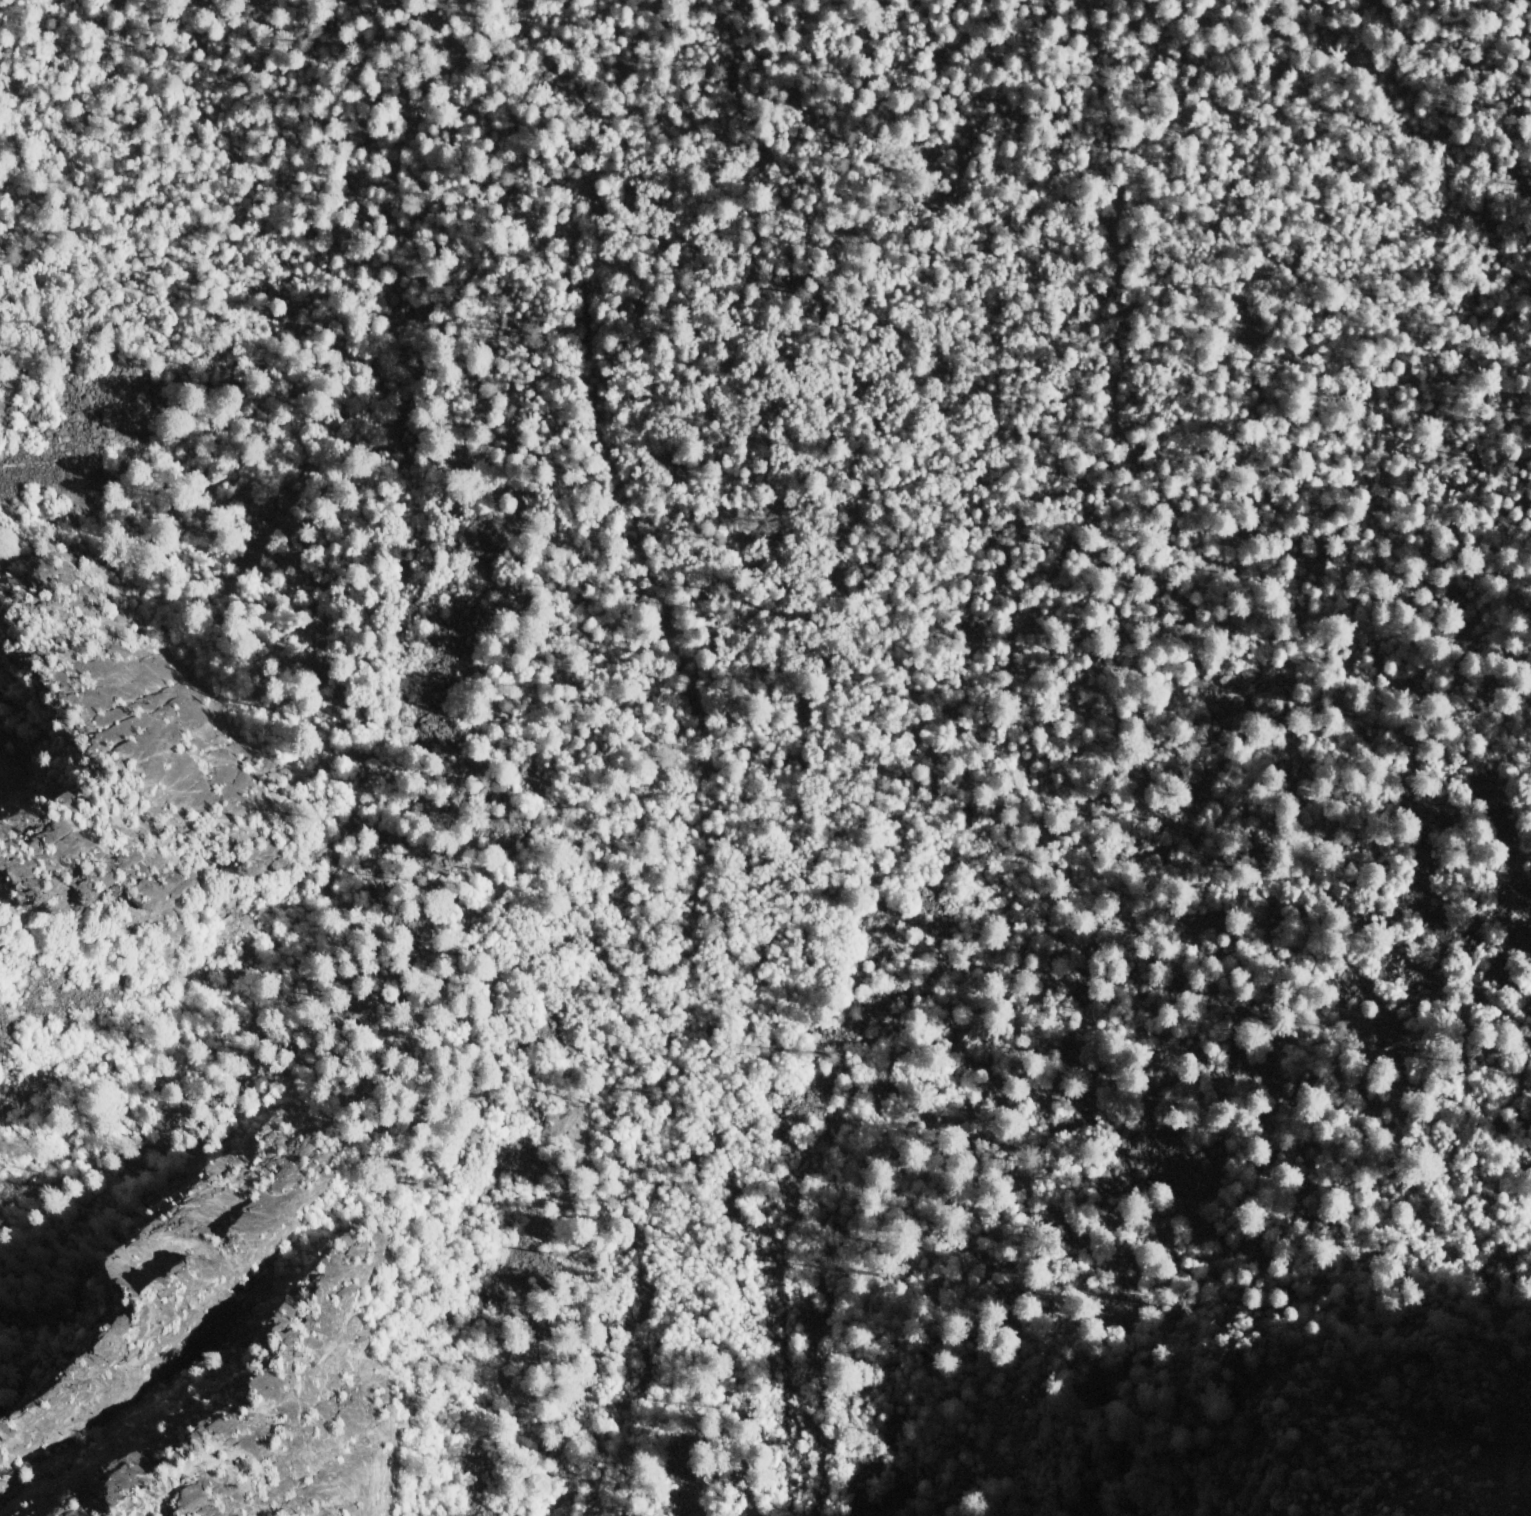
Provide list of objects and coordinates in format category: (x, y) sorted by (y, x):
road: (111, 101)

